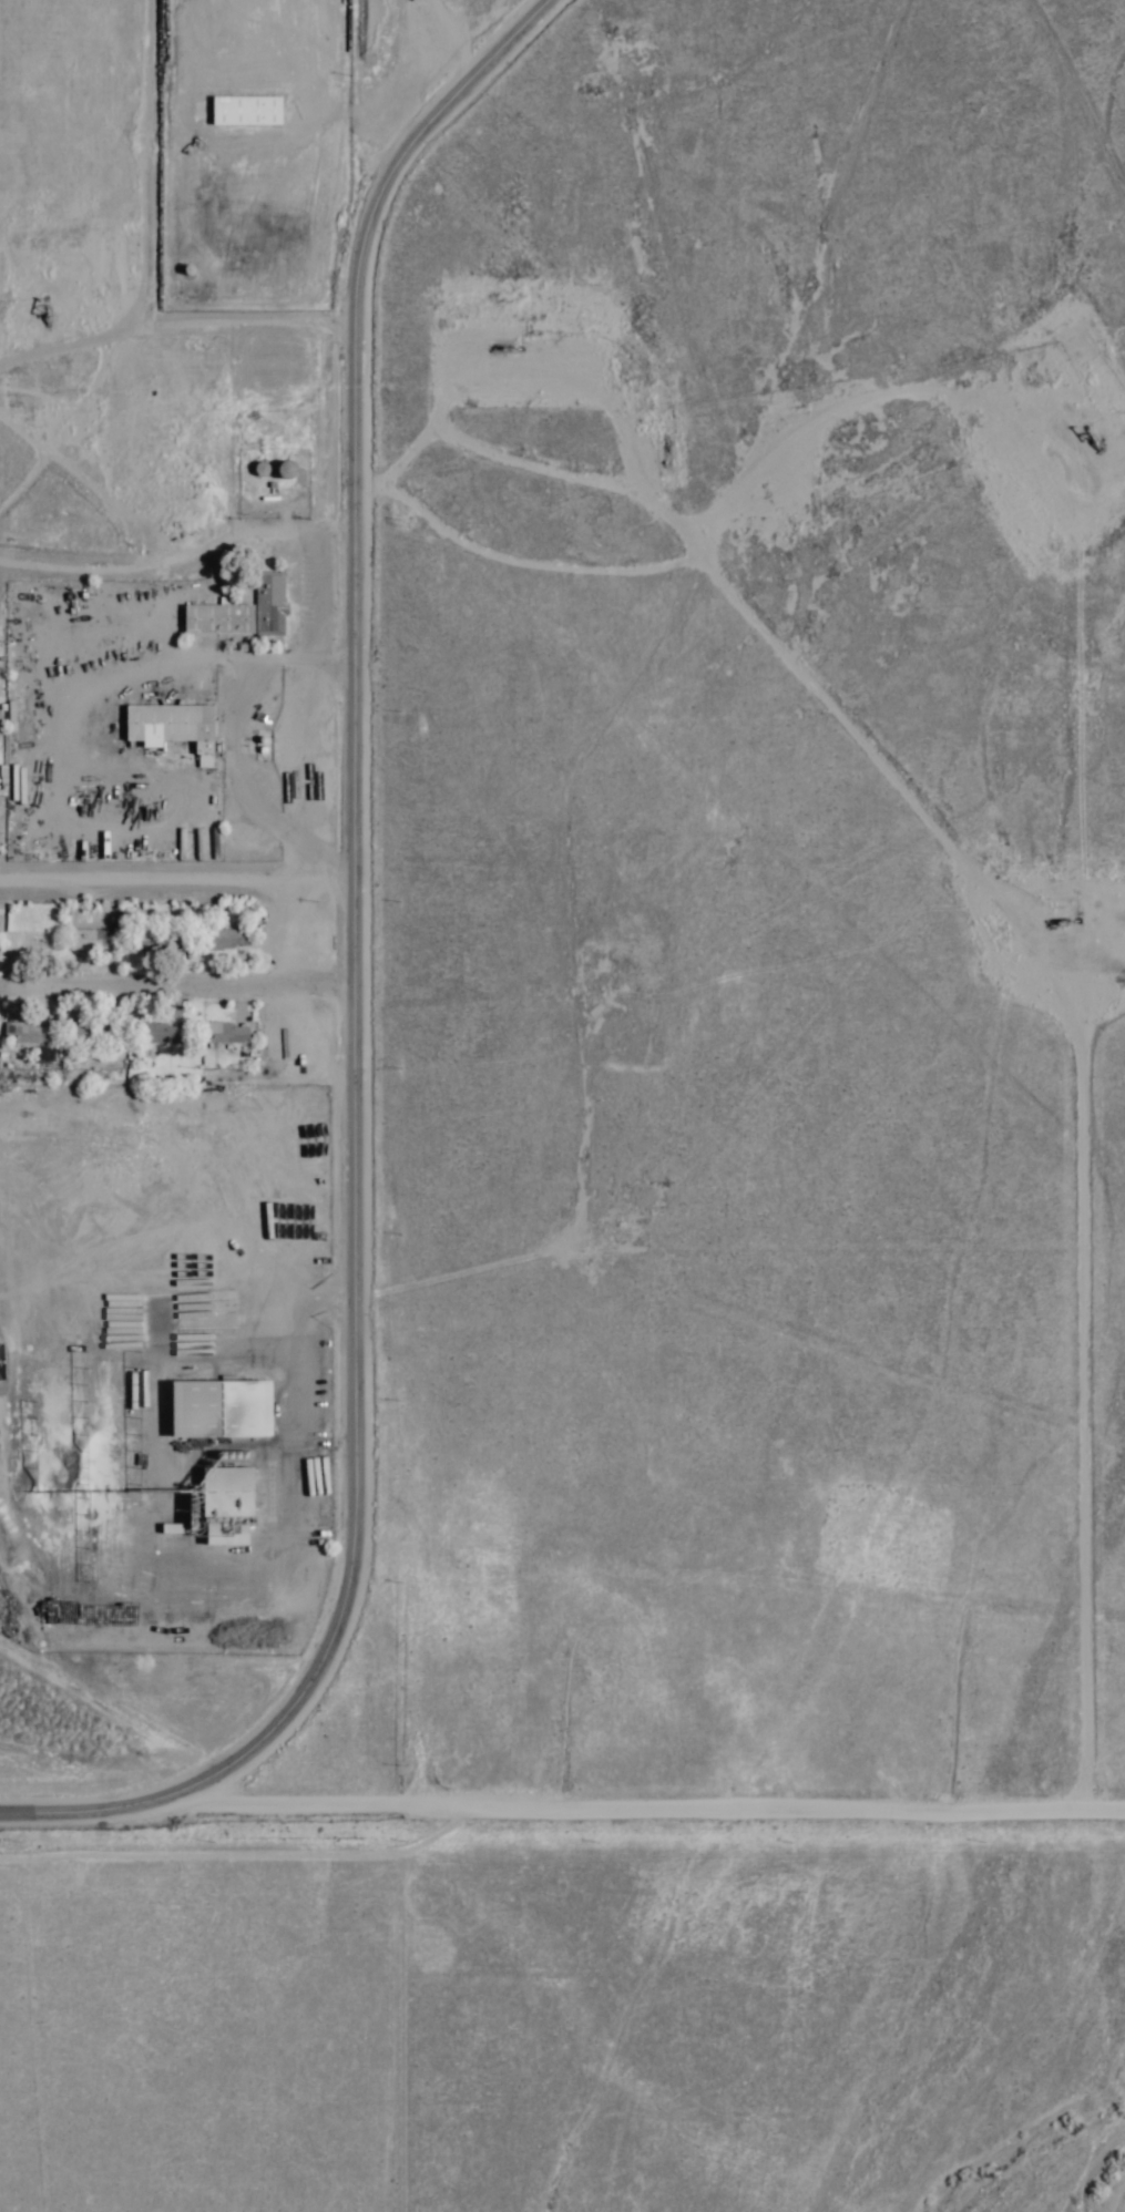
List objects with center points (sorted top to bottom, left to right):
building: (243, 112)
building: (267, 604)
building: (215, 618)
building: (168, 727)
road: (180, 839)
building: (217, 940)
road: (180, 969)
road: (360, 991)
building: (222, 1033)
building: (27, 1034)
building: (161, 1034)
building: (215, 1410)
building: (224, 1506)
building: (167, 1529)
wastewater plant: (472, 1752)

